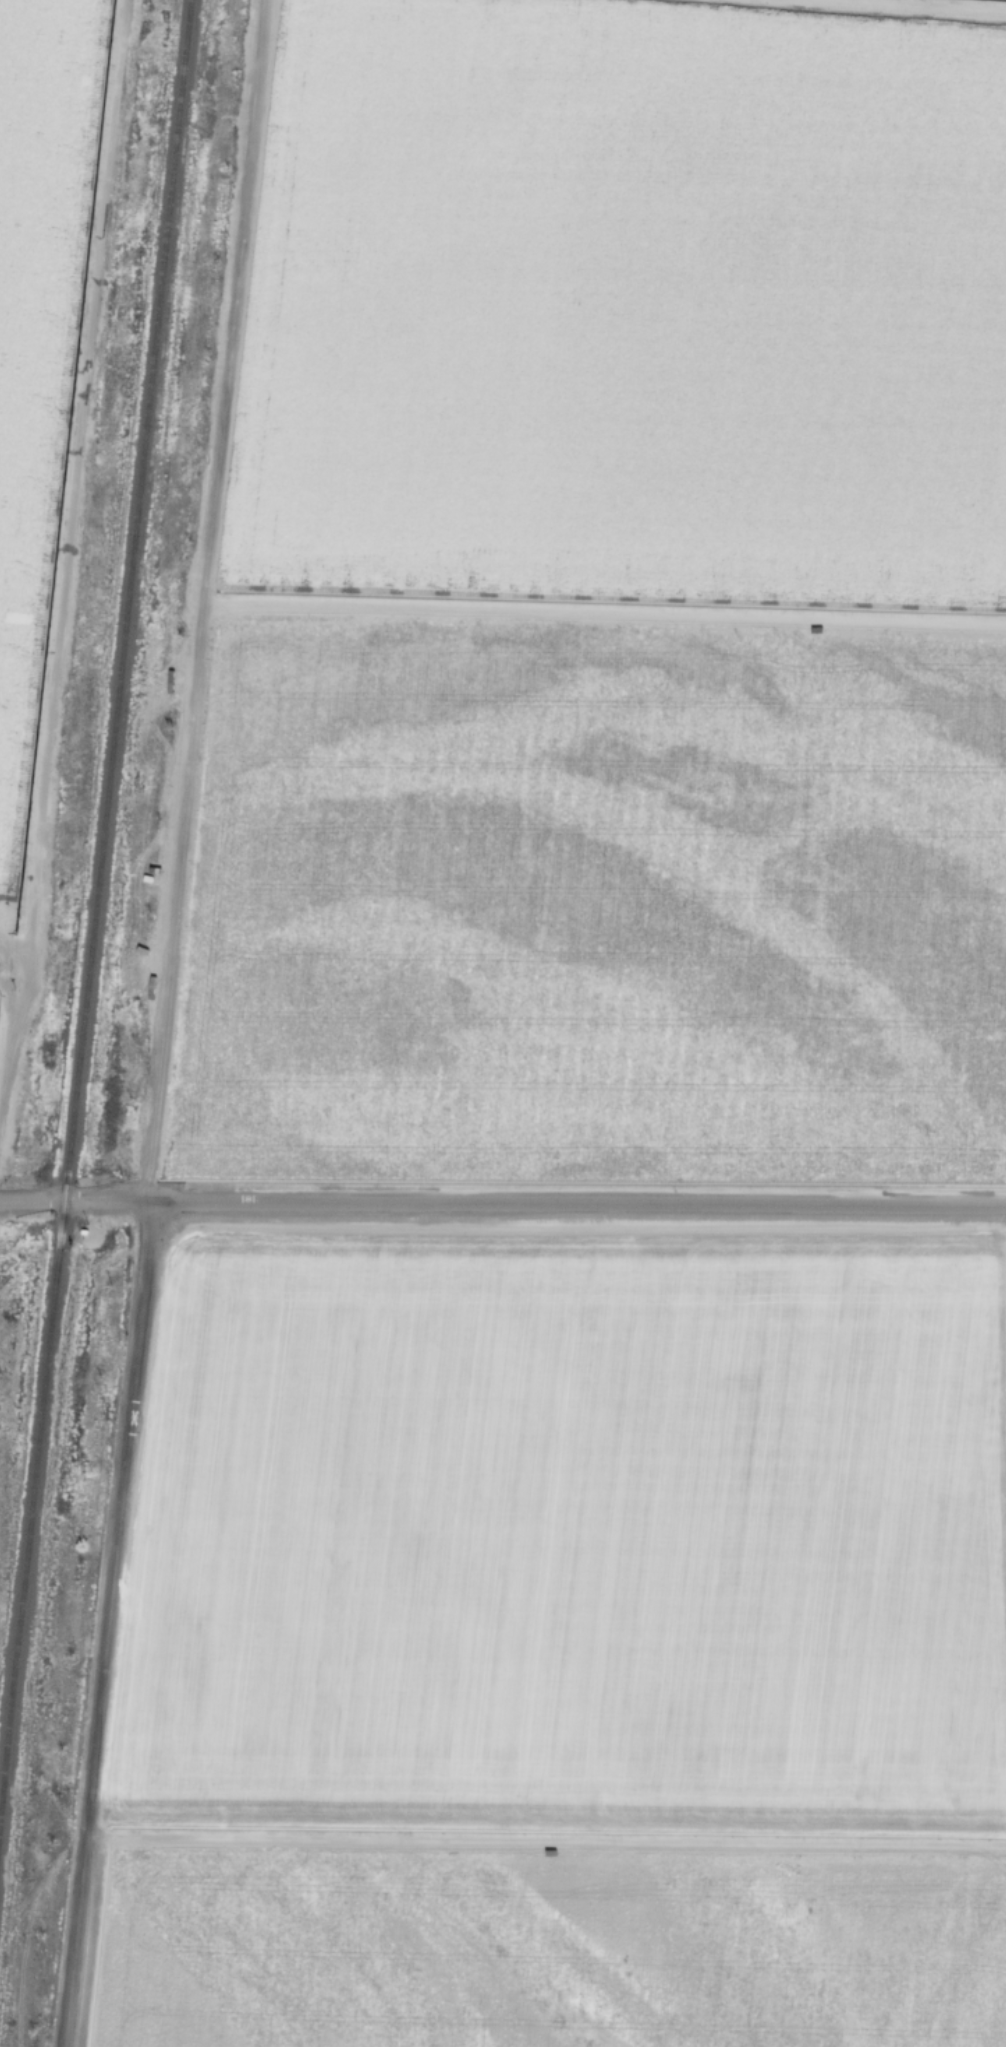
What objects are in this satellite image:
road: (943, 4)
road: (75, 478)
road: (603, 612)
railway: (95, 905)
road: (14, 949)
road: (10, 989)
road: (166, 1024)
road: (8, 1033)
road: (502, 1205)
road: (547, 1839)

